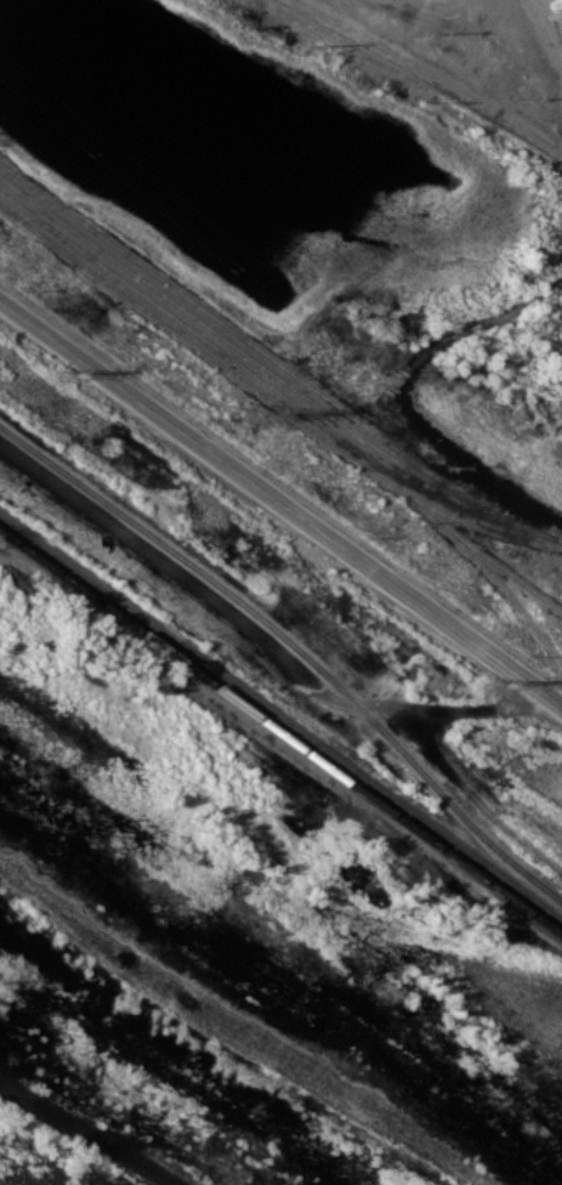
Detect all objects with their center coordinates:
road: (544, 30)
road: (433, 73)
railway: (206, 352)
power tower: (59, 375)
power tower: (362, 380)
power tower: (252, 415)
road: (280, 500)
railway: (469, 521)
railway: (499, 565)
railway: (493, 576)
railway: (245, 602)
power tower: (493, 686)
railway: (280, 718)
railway: (280, 733)
railway: (510, 860)

